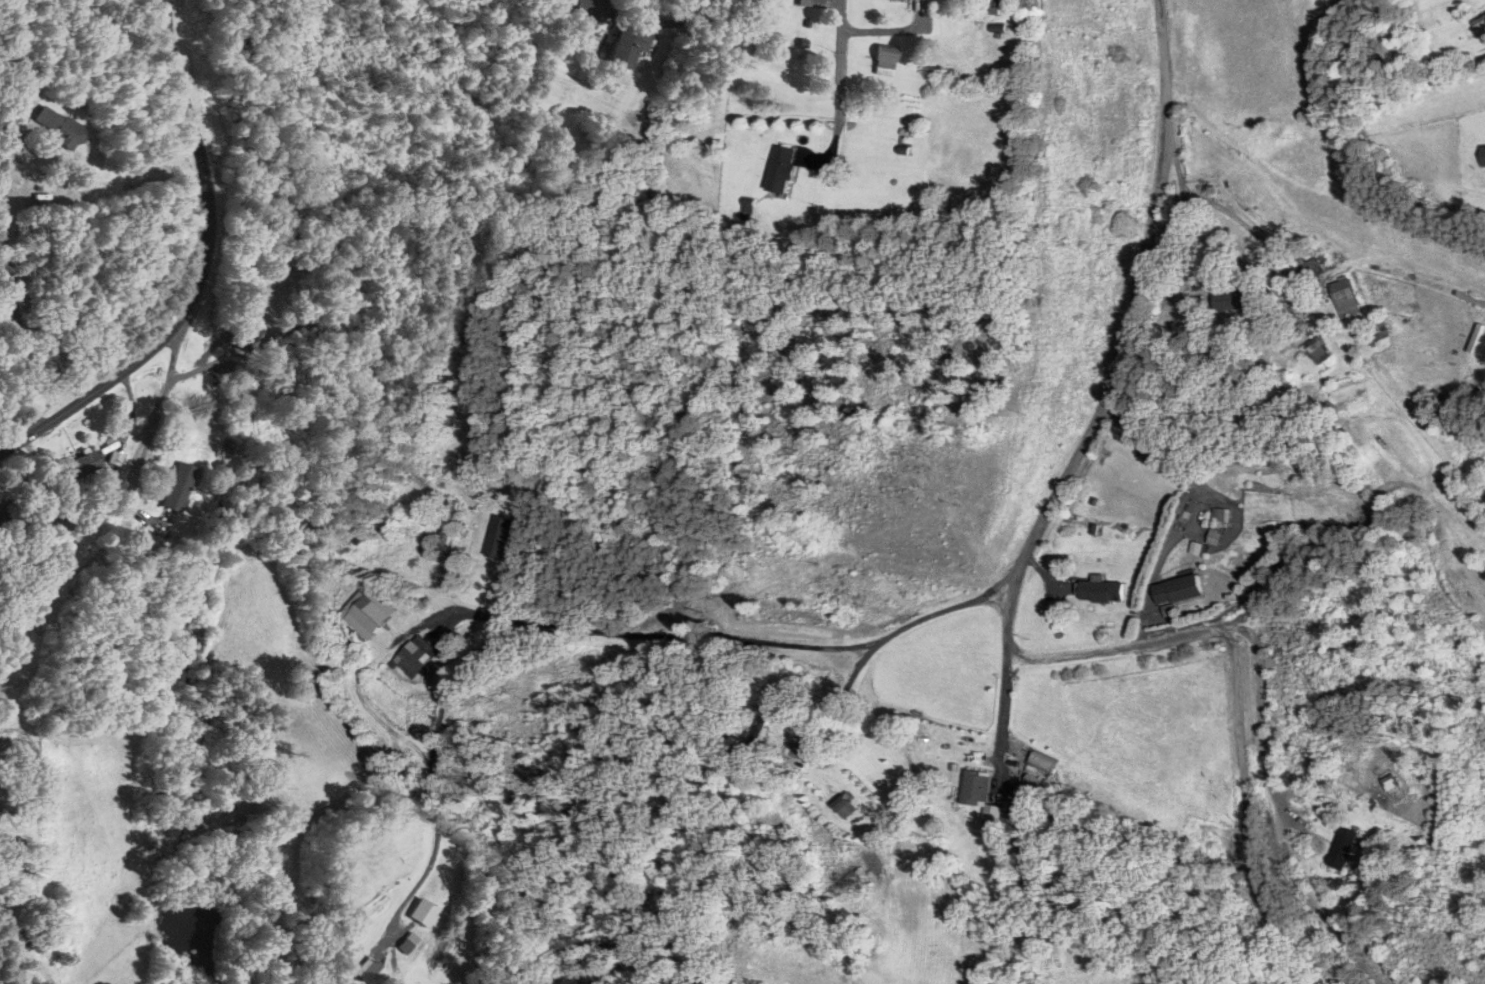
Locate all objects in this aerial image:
building: (591, 11)
road: (696, 18)
building: (1479, 22)
building: (623, 49)
building: (883, 60)
road: (839, 75)
building: (57, 128)
building: (1481, 156)
building: (780, 170)
building: (1308, 269)
road: (202, 272)
road: (7, 273)
building: (1344, 297)
building: (1229, 298)
building: (1378, 327)
building: (245, 335)
building: (1316, 349)
building: (82, 464)
building: (176, 488)
building: (9, 512)
building: (446, 523)
building: (498, 538)
building: (1176, 589)
building: (1100, 591)
building: (368, 612)
road: (1008, 621)
road: (590, 628)
building: (415, 657)
road: (843, 695)
road: (1001, 718)
building: (1041, 761)
building: (1029, 787)
building: (980, 796)
building: (838, 797)
building: (1341, 847)
building: (424, 913)
building: (410, 943)
building: (369, 972)

